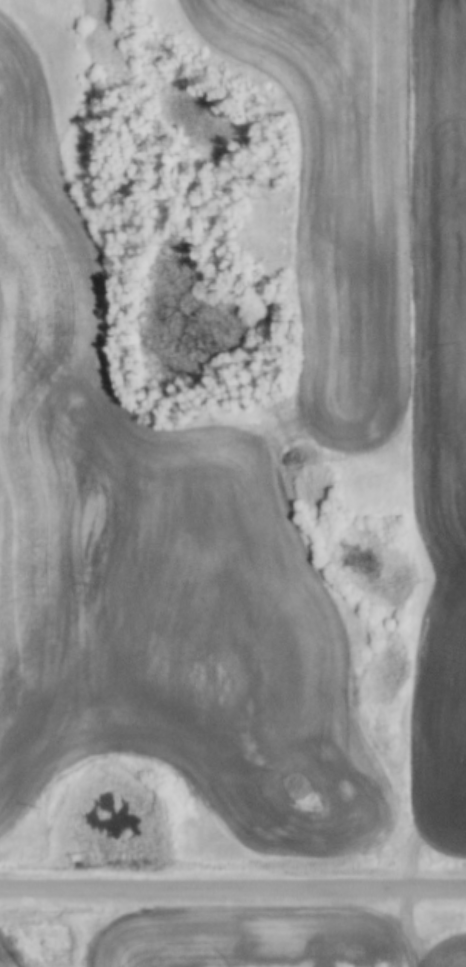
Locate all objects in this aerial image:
road: (233, 885)

